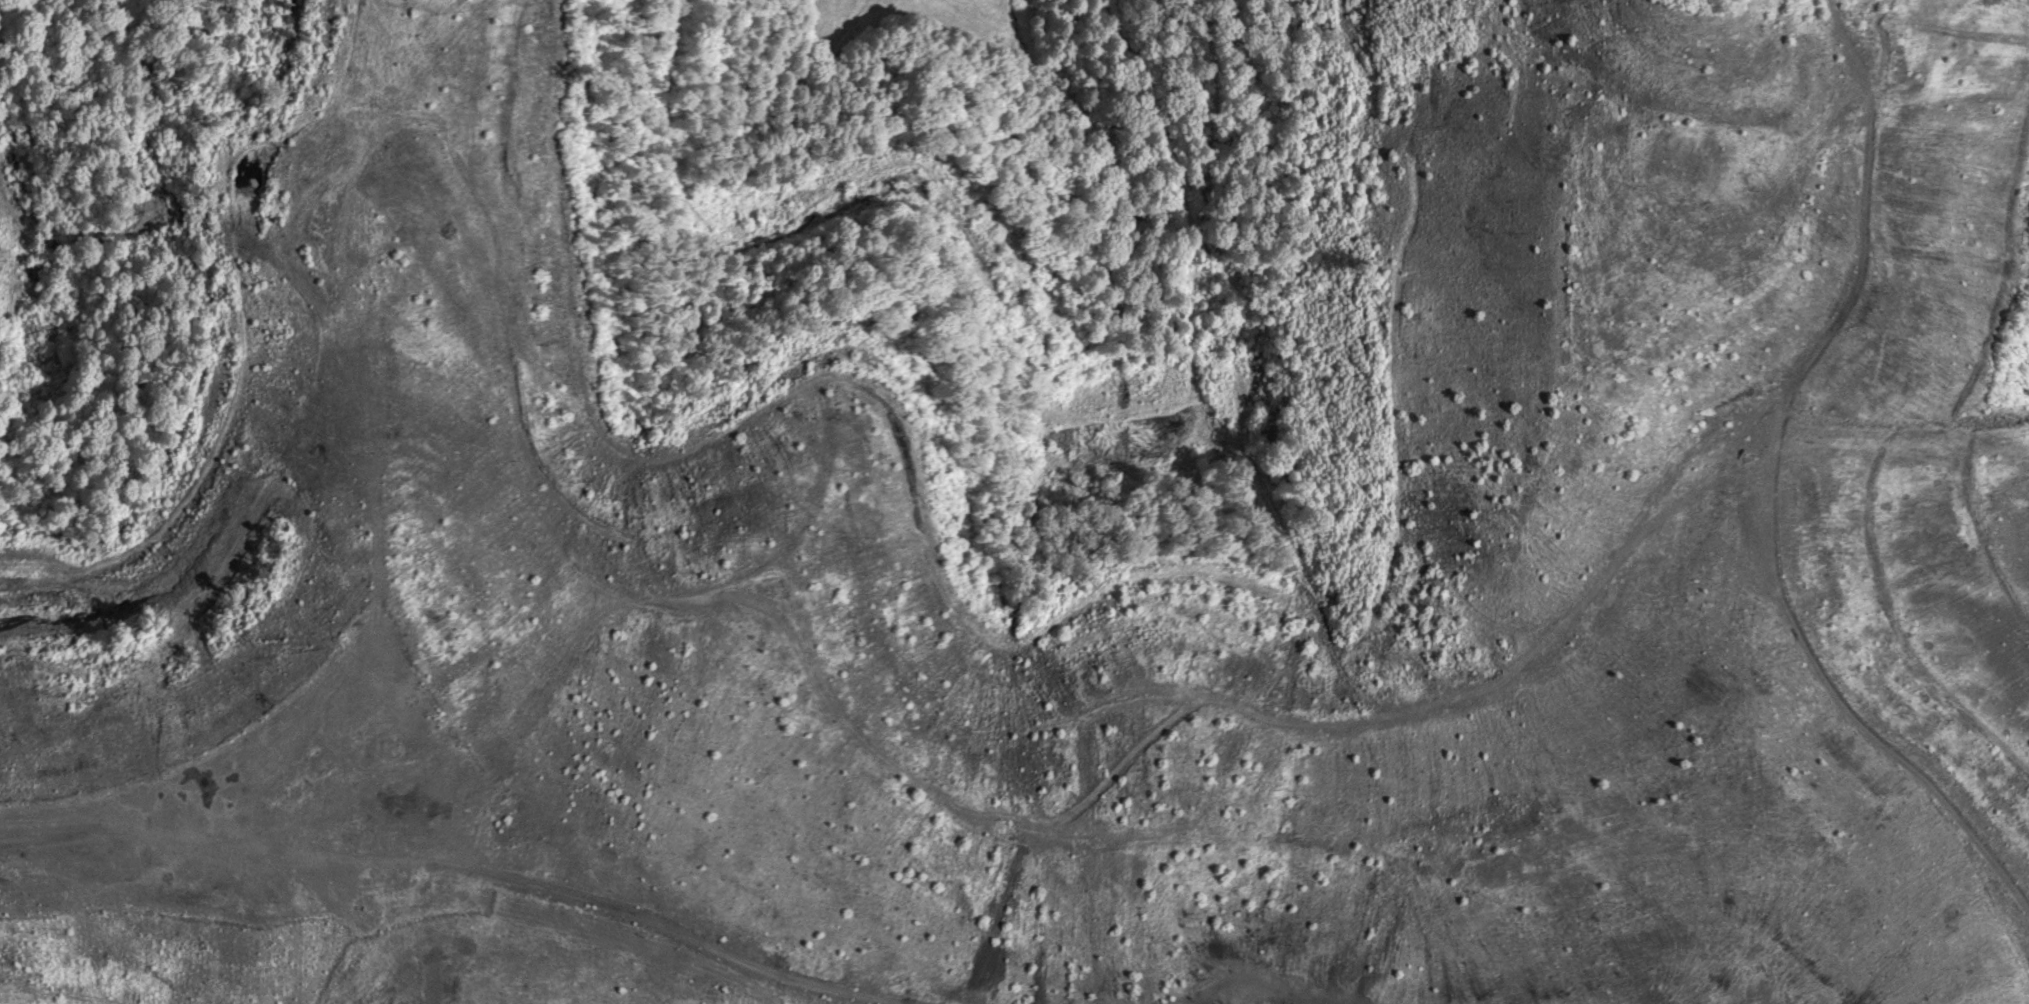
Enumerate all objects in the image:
road: (1202, 38)
building: (20, 234)
building: (22, 284)
quarry: (1579, 550)

